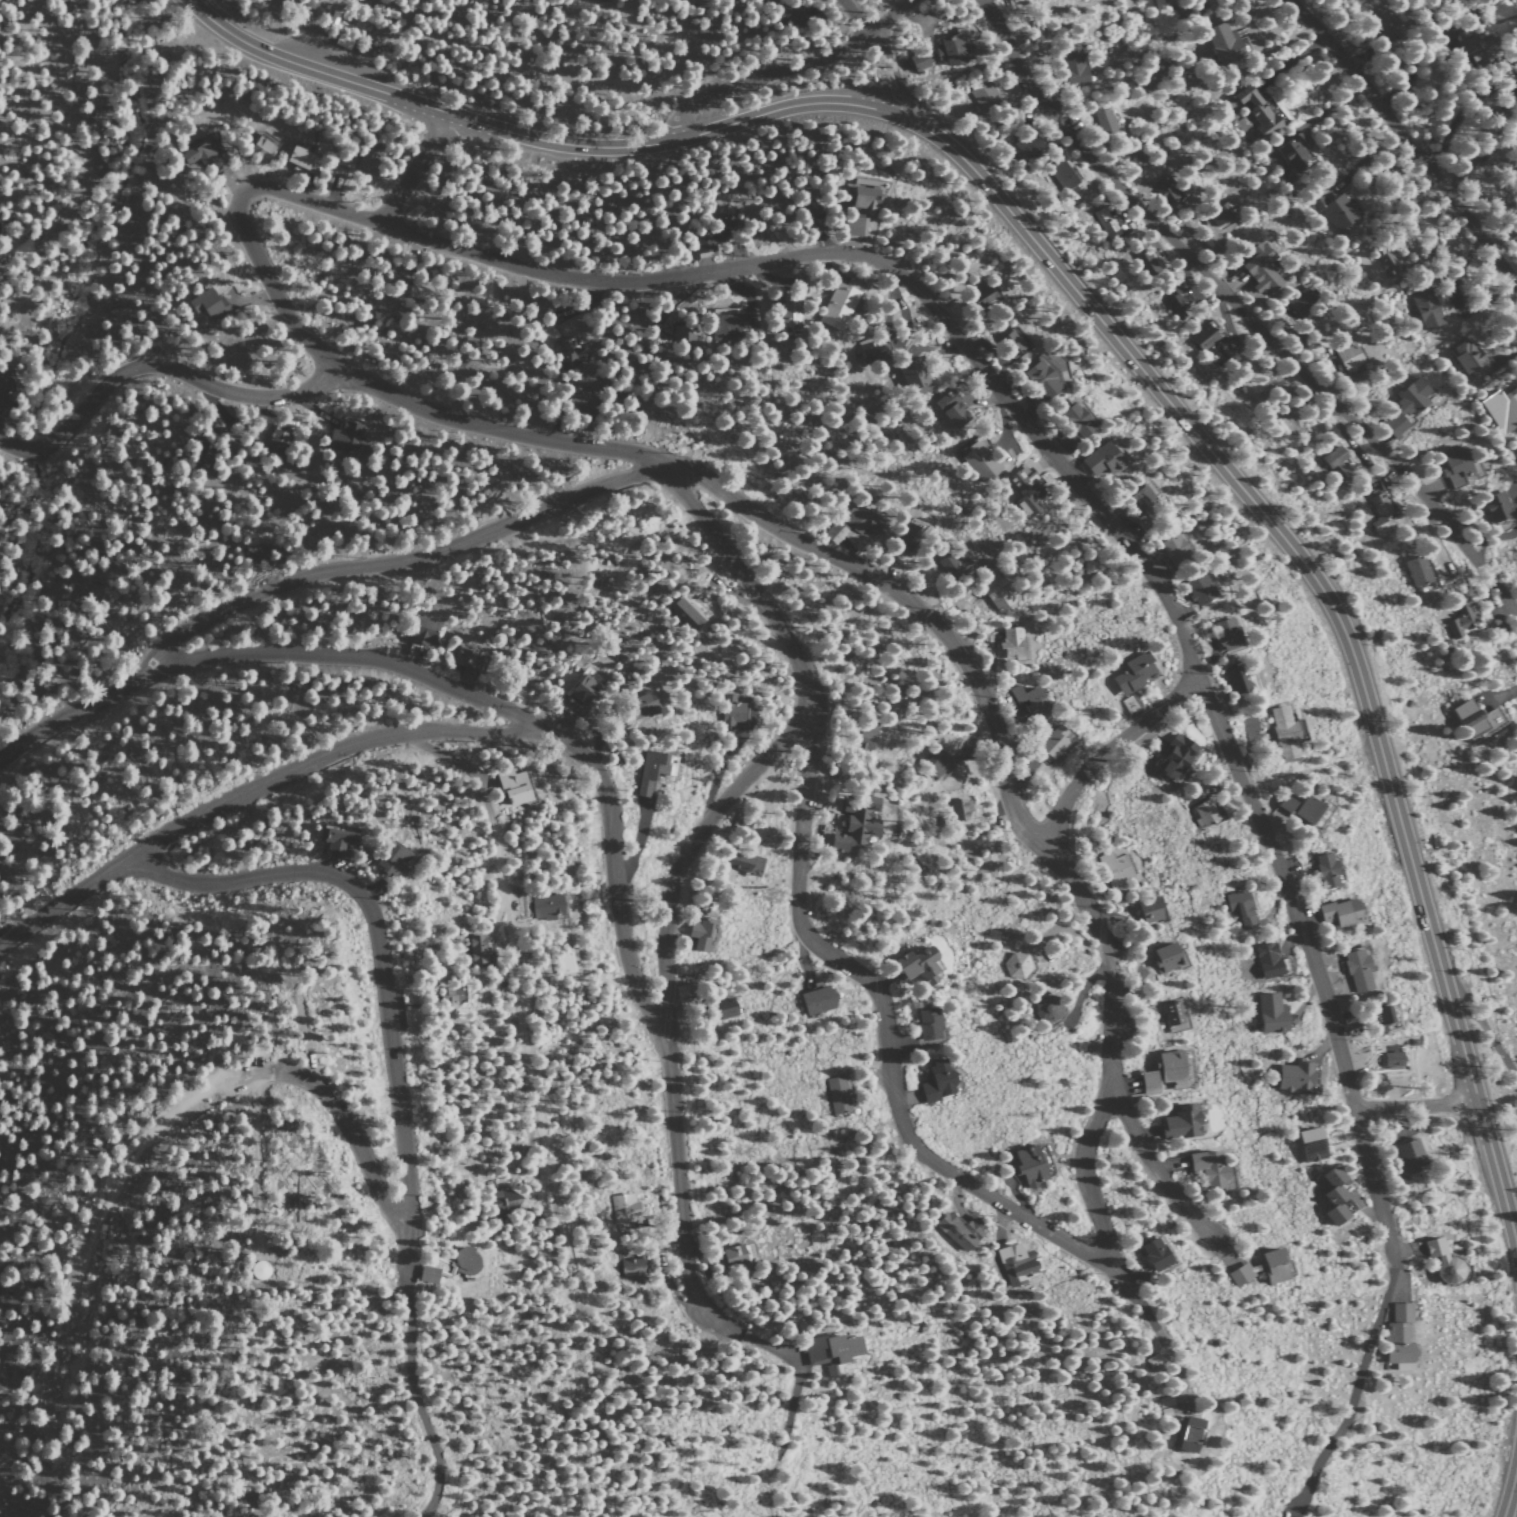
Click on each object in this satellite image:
building: (604, 0)
building: (685, 1)
building: (1161, 6)
building: (789, 14)
road: (1376, 17)
road: (1385, 31)
road: (1262, 36)
building: (1220, 43)
building: (948, 49)
building: (1471, 49)
road: (884, 51)
road: (1418, 53)
building: (915, 60)
building: (1072, 66)
road: (787, 69)
building: (983, 94)
park: (1205, 97)
road: (1205, 99)
building: (1256, 111)
road: (1460, 112)
building: (1104, 121)
road: (1406, 140)
building: (1026, 145)
building: (259, 148)
building: (194, 152)
building: (1291, 153)
building: (296, 157)
building: (365, 158)
road: (1479, 158)
road: (413, 168)
building: (1062, 177)
building: (1163, 191)
building: (862, 199)
building: (1336, 212)
building: (806, 213)
building: (1220, 214)
road: (240, 222)
building: (1105, 222)
building: (852, 226)
building: (711, 233)
road: (1501, 236)
building: (1386, 262)
building: (1145, 263)
road: (889, 266)
building: (1258, 269)
building: (417, 289)
building: (1310, 291)
building: (977, 293)
building: (1175, 300)
building: (1298, 302)
building: (205, 304)
building: (836, 305)
building: (1425, 309)
building: (785, 310)
road: (1240, 311)
road: (1099, 319)
building: (724, 327)
building: (683, 329)
building: (1205, 336)
building: (1010, 342)
building: (868, 350)
building: (566, 354)
building: (1347, 357)
building: (1466, 358)
road: (158, 364)
building: (911, 373)
building: (1041, 378)
building: (1, 384)
building: (577, 404)
building: (1403, 407)
building: (949, 409)
building: (1500, 409)
building: (1074, 420)
building: (340, 438)
building: (1065, 440)
building: (276, 441)
building: (1515, 448)
building: (204, 451)
building: (1100, 459)
building: (978, 460)
building: (1334, 462)
building: (1453, 467)
building: (1025, 490)
building: (1145, 495)
building: (1495, 506)
building: (1378, 514)
building: (860, 520)
building: (832, 533)
building: (907, 537)
building: (1171, 546)
building: (255, 548)
road: (402, 562)
building: (947, 565)
building: (1418, 573)
road: (878, 584)
building: (1196, 588)
building: (994, 591)
building: (686, 612)
building: (1460, 619)
building: (422, 631)
building: (1224, 634)
building: (1010, 643)
building: (467, 659)
building: (1130, 673)
building: (1236, 678)
building: (581, 691)
building: (1029, 700)
building: (637, 705)
road: (77, 710)
building: (730, 711)
building: (1475, 718)
building: (870, 724)
building: (1284, 731)
building: (866, 737)
building: (1053, 741)
road: (1108, 748)
building: (1173, 756)
building: (933, 762)
road: (458, 763)
building: (649, 770)
building: (509, 784)
road: (249, 790)
building: (1283, 803)
building: (1304, 807)
building: (959, 808)
building: (1203, 812)
road: (608, 819)
building: (854, 821)
building: (334, 837)
road: (685, 850)
building: (388, 858)
building: (737, 861)
building: (1115, 869)
building: (1323, 869)
road: (499, 882)
building: (545, 905)
building: (1239, 907)
building: (1147, 908)
building: (1337, 912)
road: (797, 917)
building: (697, 931)
road: (376, 935)
building: (476, 947)
building: (1164, 956)
building: (1265, 959)
building: (566, 961)
building: (914, 964)
building: (1014, 964)
building: (1356, 969)
road: (1316, 972)
building: (451, 996)
building: (813, 997)
building: (717, 1007)
building: (1045, 1007)
building: (1268, 1011)
building: (1170, 1012)
building: (1377, 1017)
building: (925, 1023)
road: (1485, 1032)
road: (526, 1059)
building: (1391, 1059)
building: (1167, 1064)
building: (1293, 1074)
building: (933, 1081)
building: (1146, 1082)
building: (835, 1093)
road: (1415, 1107)
building: (1178, 1121)
road: (348, 1136)
building: (1308, 1143)
building: (1409, 1155)
building: (1026, 1165)
building: (1206, 1167)
road: (1153, 1168)
road: (1087, 1193)
building: (1330, 1193)
building: (502, 1201)
building: (621, 1207)
road: (667, 1222)
building: (957, 1230)
road: (406, 1249)
road: (87, 1252)
building: (746, 1252)
building: (1153, 1254)
building: (732, 1256)
building: (464, 1260)
building: (1441, 1261)
building: (1015, 1263)
building: (1267, 1264)
building: (630, 1267)
building: (254, 1268)
building: (425, 1274)
road: (677, 1301)
building: (1396, 1334)
road: (1166, 1346)
building: (829, 1351)
road: (796, 1361)
road: (1352, 1399)
road: (414, 1401)
building: (1187, 1434)
road: (1510, 1491)

